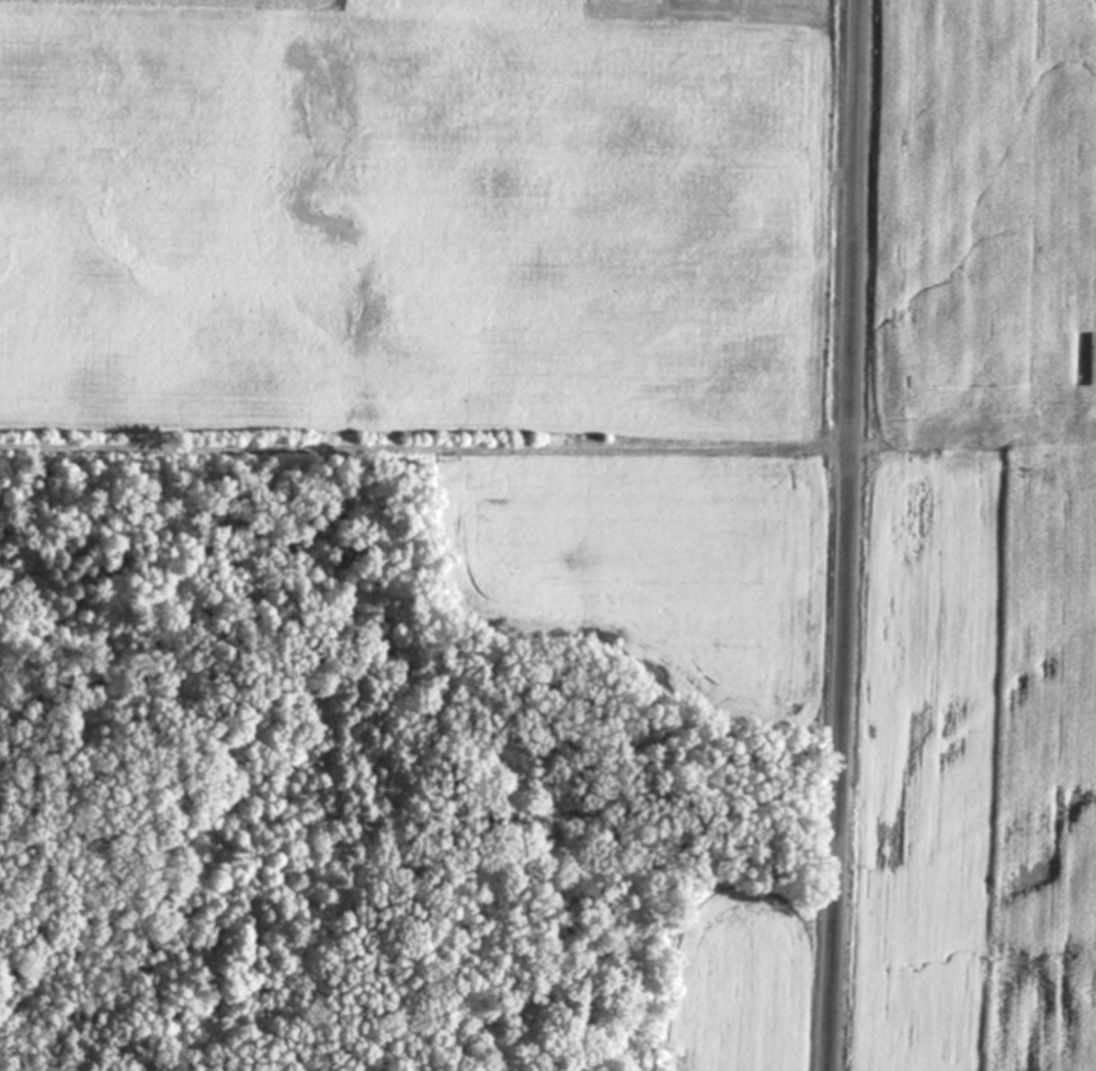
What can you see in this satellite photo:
road: (848, 535)

